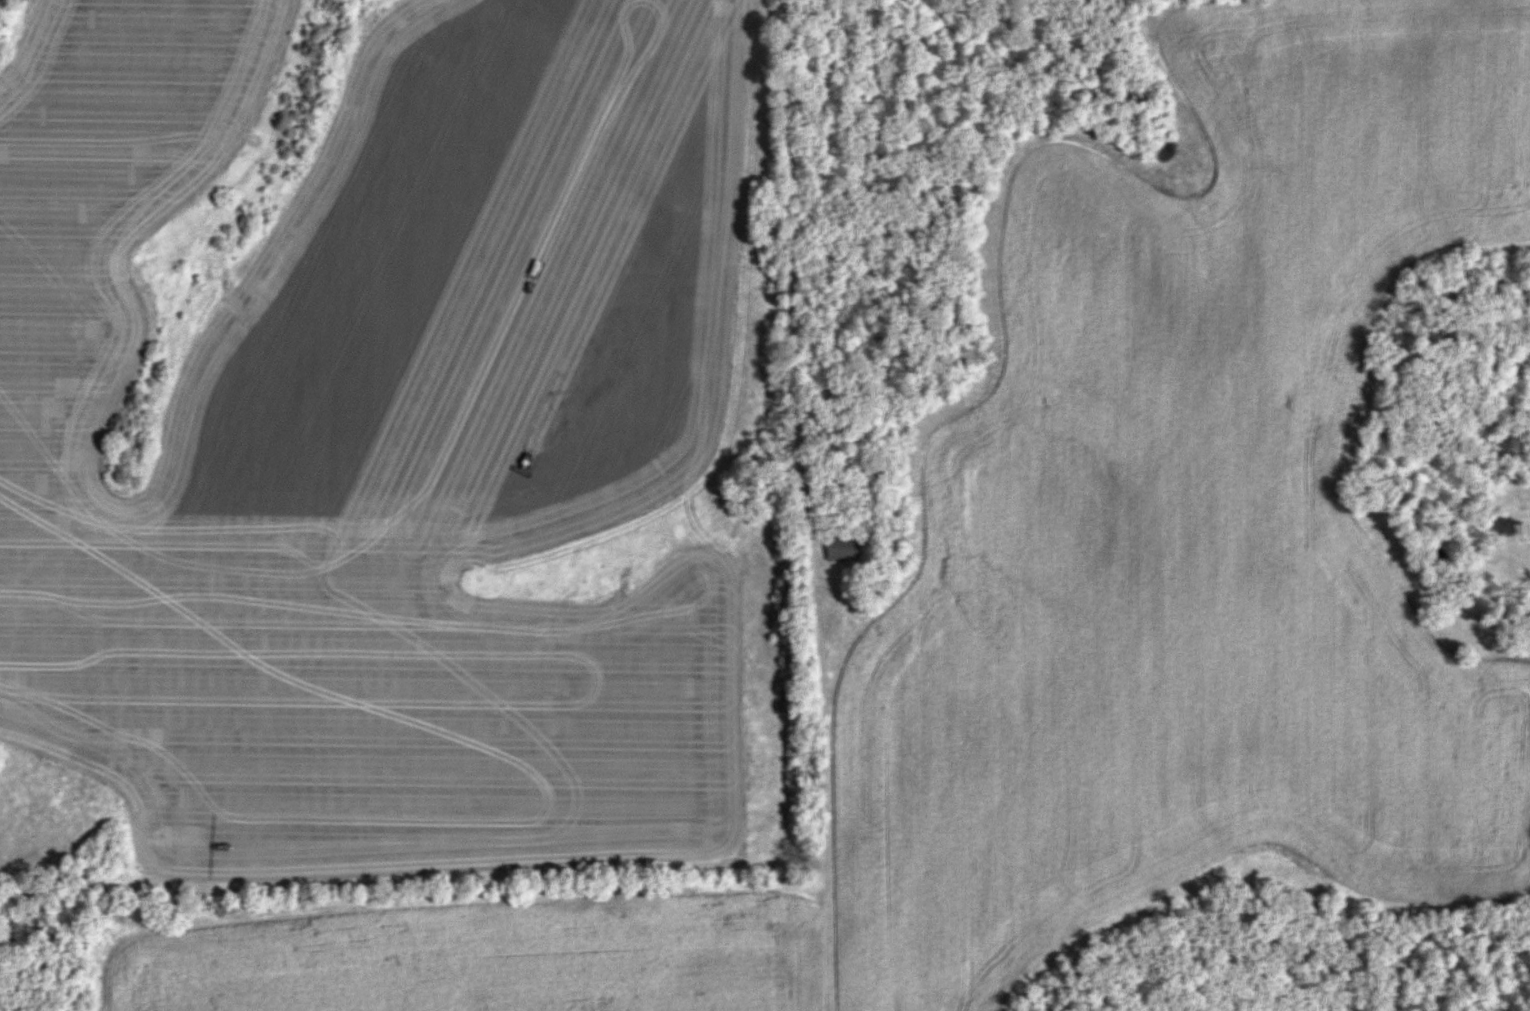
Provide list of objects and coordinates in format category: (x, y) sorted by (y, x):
building: (845, 551)

